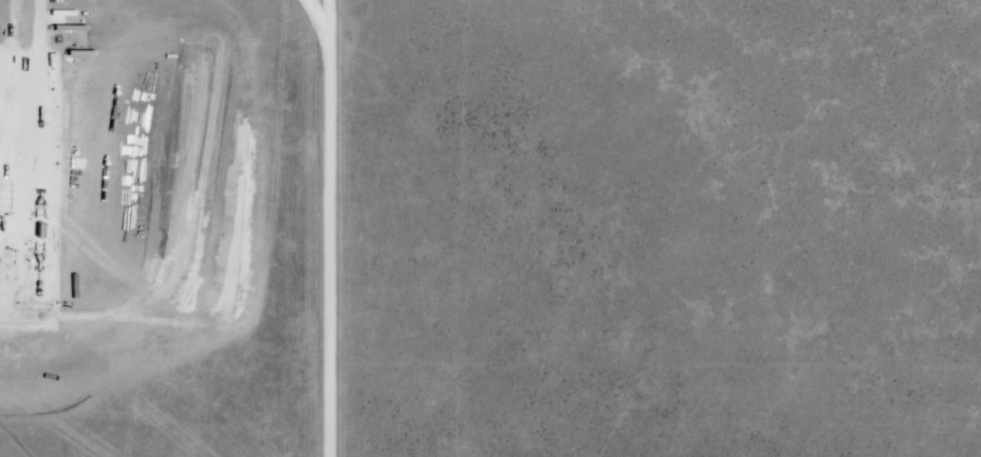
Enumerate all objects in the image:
power substation: (21, 188)

